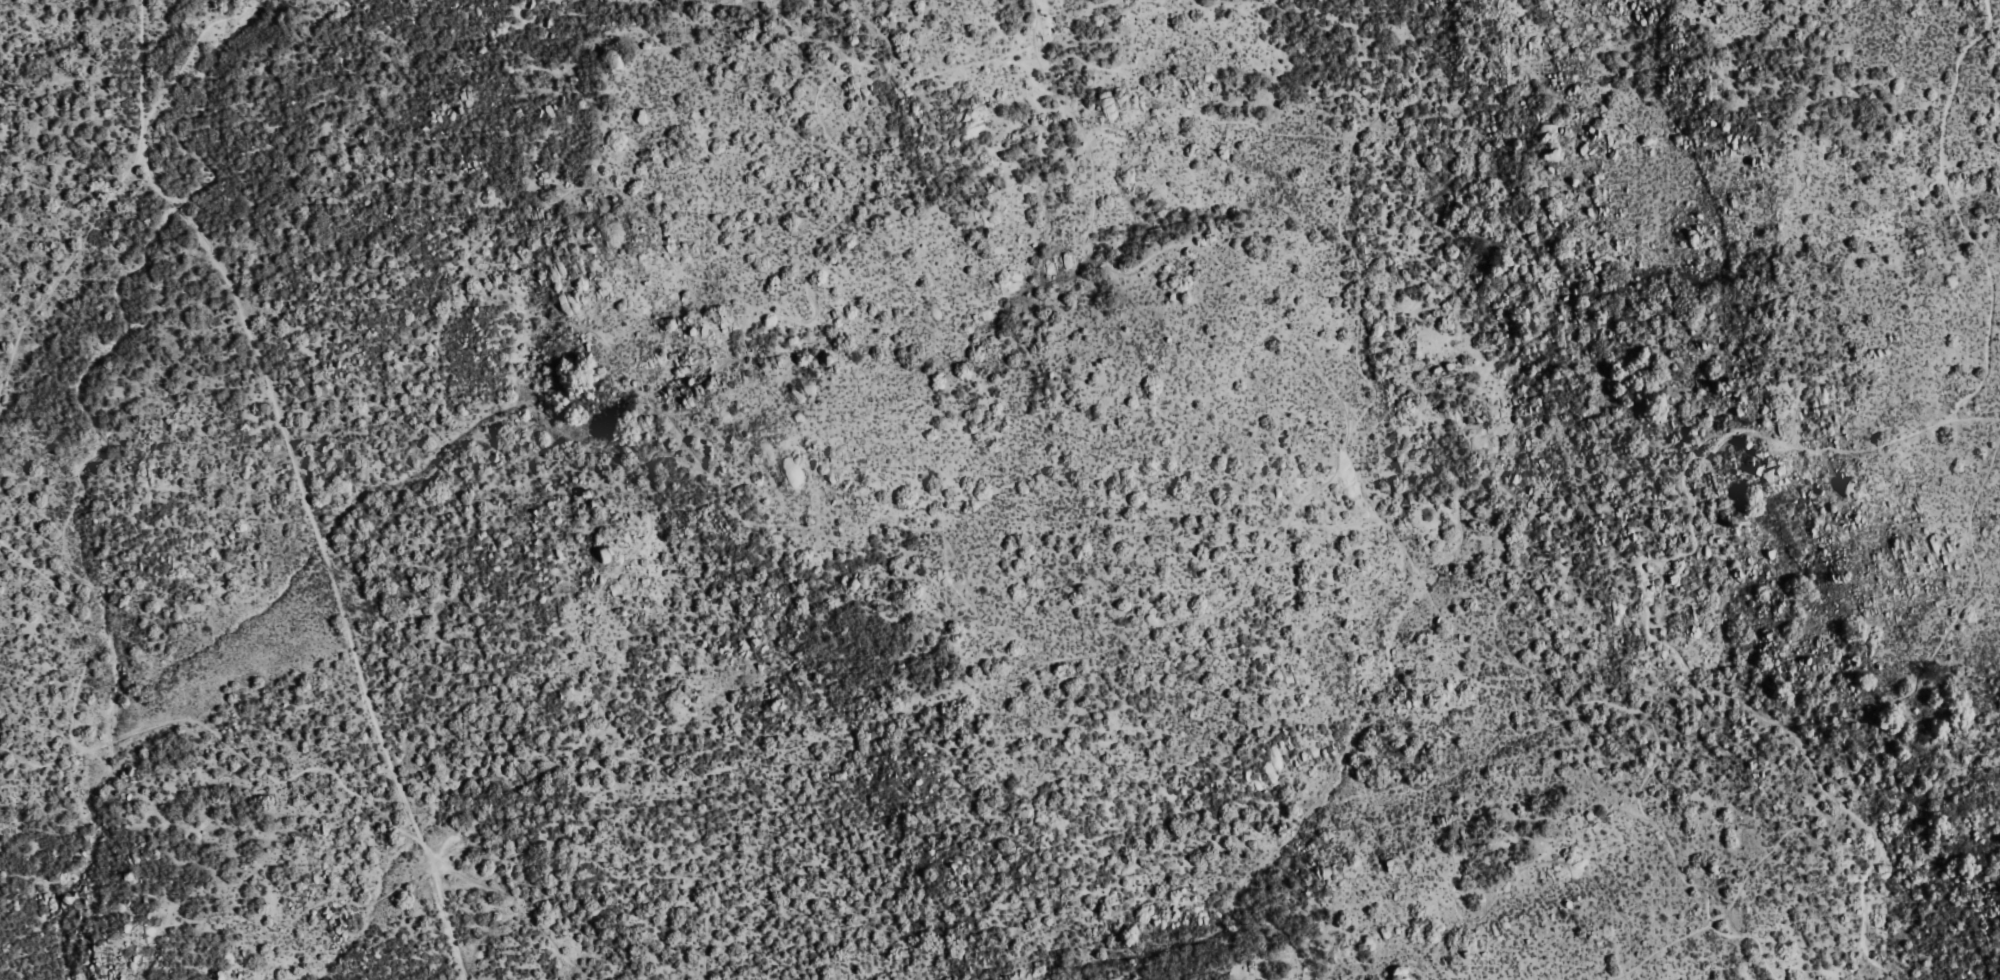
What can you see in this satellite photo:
road: (1890, 709)

